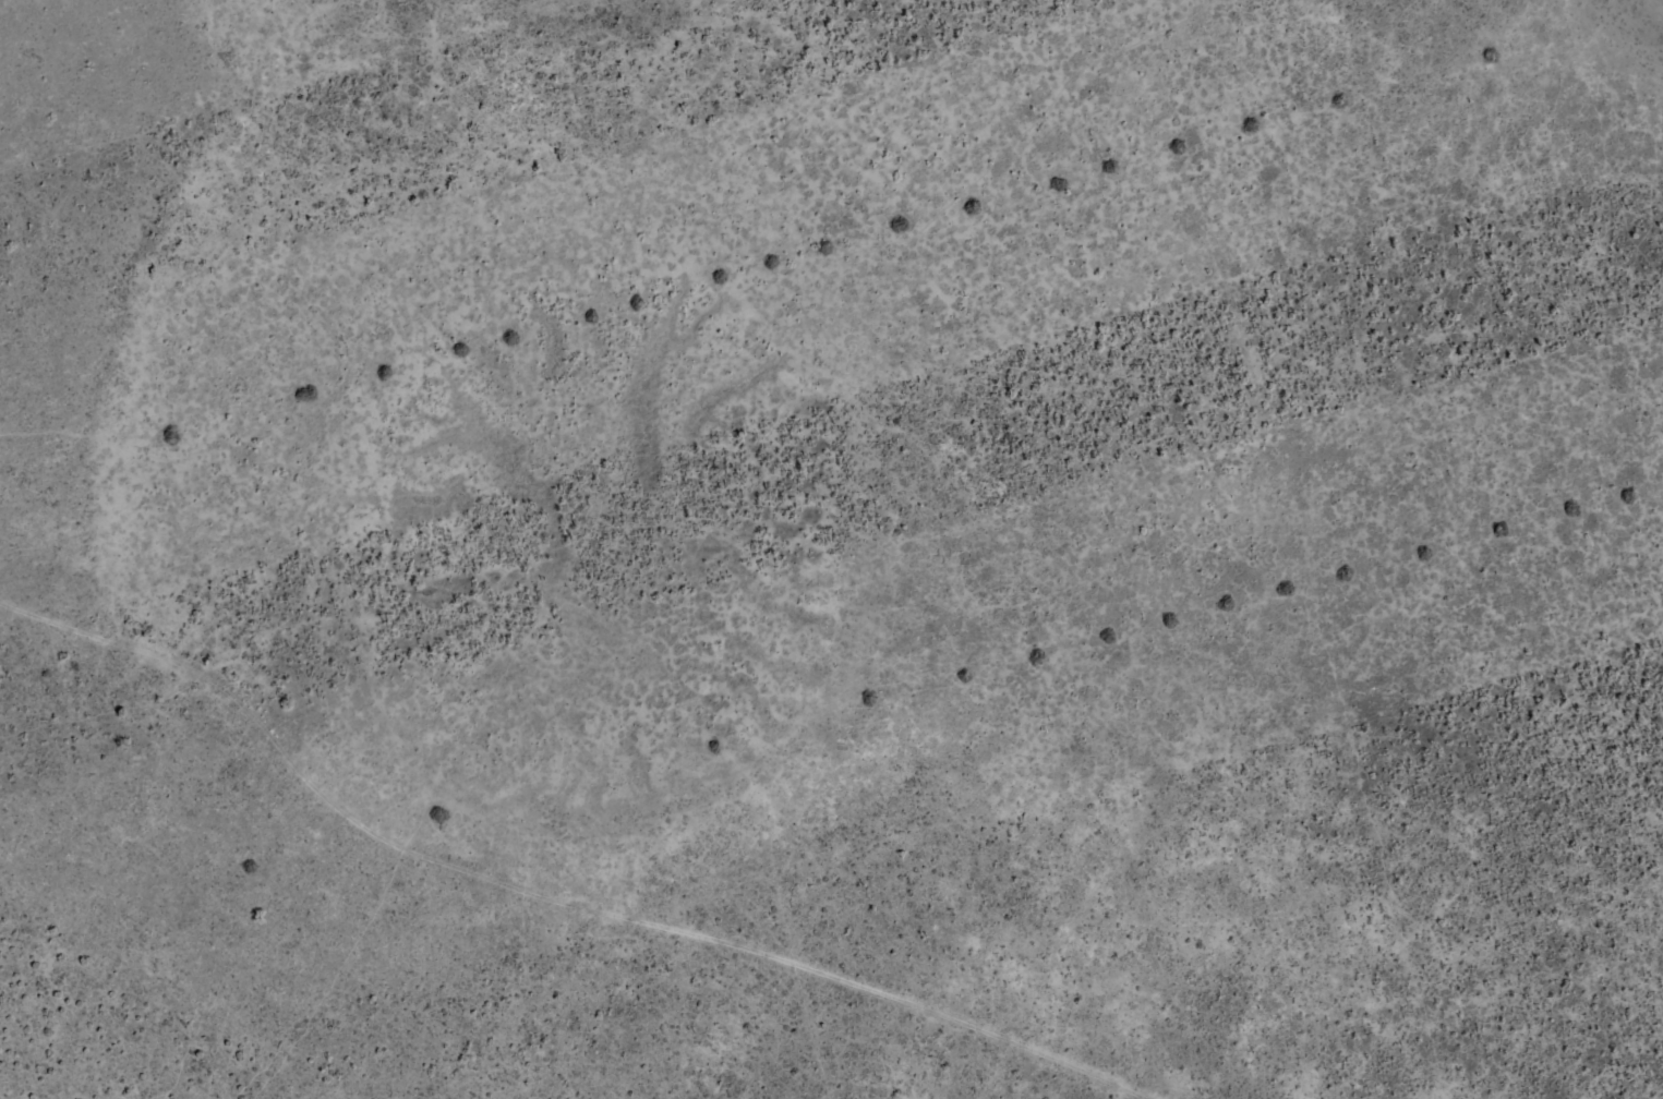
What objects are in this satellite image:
road: (589, 830)

